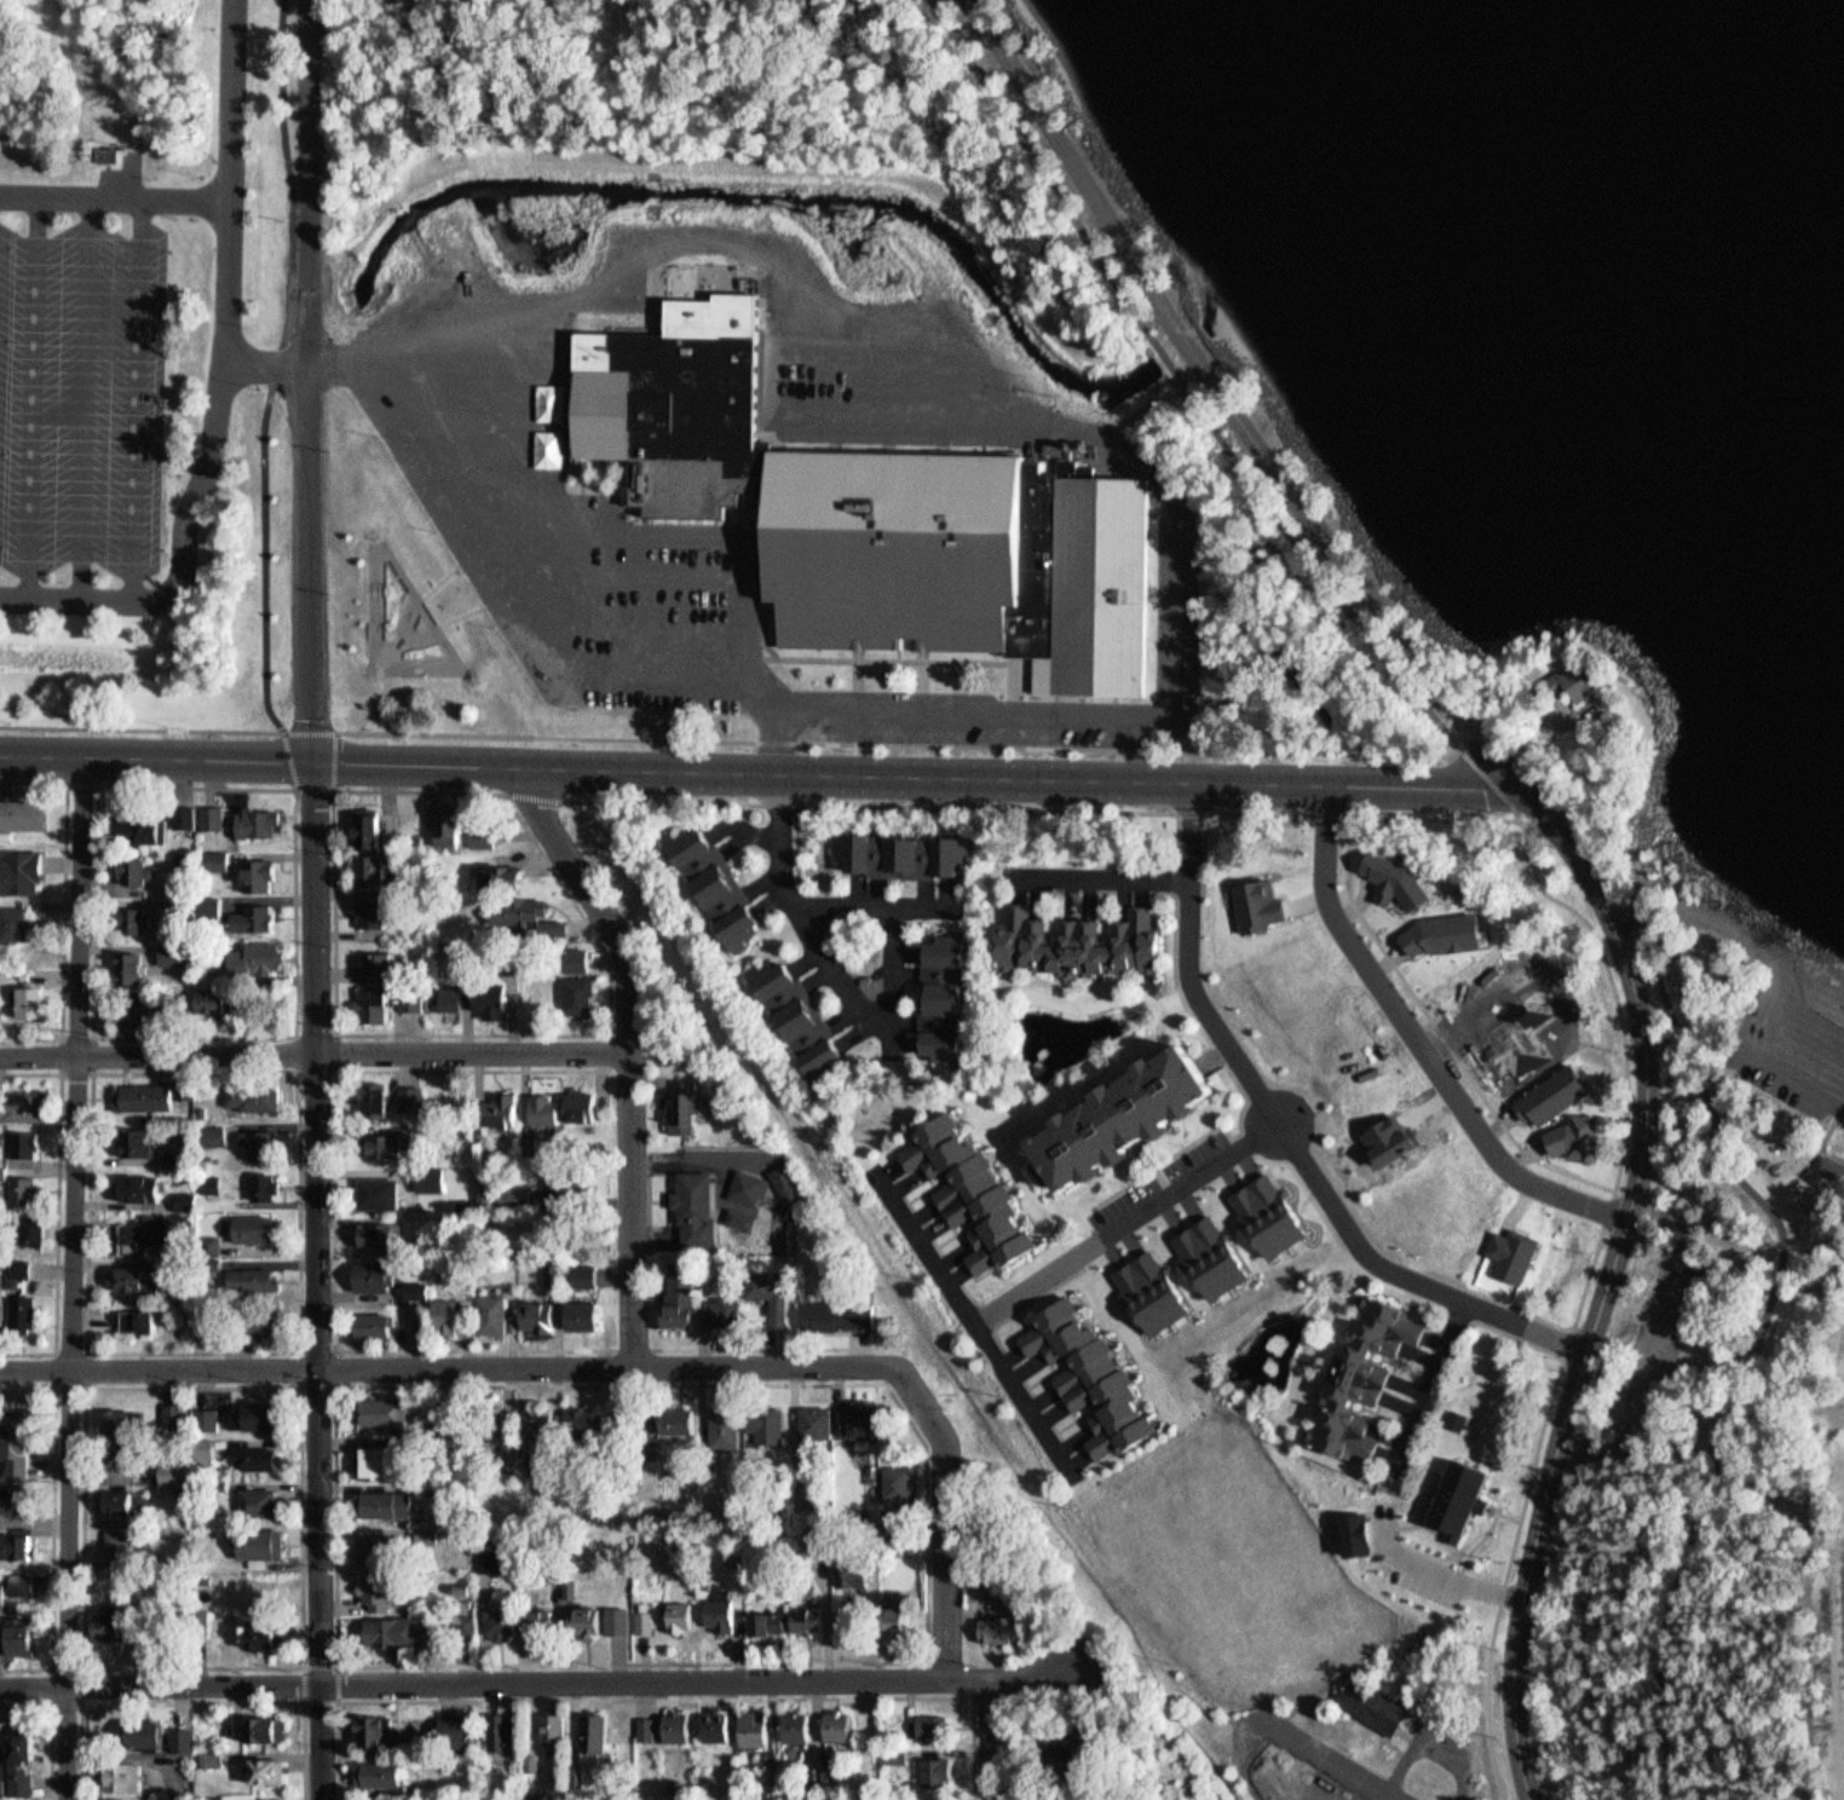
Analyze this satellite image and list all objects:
building: (100, 146)
road: (1062, 148)
road: (1019, 160)
road: (115, 197)
road: (1188, 335)
road: (1159, 354)
road: (266, 360)
road: (275, 368)
road: (306, 381)
road: (225, 388)
road: (35, 398)
parking lot: (82, 398)
road: (86, 399)
road: (138, 399)
building: (679, 399)
building: (969, 561)
road: (529, 608)
park: (407, 622)
building: (1573, 685)
road: (143, 728)
road: (903, 743)
road: (759, 774)
road: (1493, 780)
road: (336, 781)
road: (81, 785)
road: (532, 795)
building: (18, 804)
road: (892, 804)
road: (1220, 812)
road: (1329, 812)
building: (188, 817)
building: (215, 817)
road: (1192, 817)
building: (263, 823)
building: (454, 826)
building: (485, 833)
building: (206, 838)
building: (374, 846)
building: (910, 853)
building: (16, 862)
building: (137, 870)
building: (264, 876)
building: (505, 876)
road: (1101, 876)
building: (1393, 878)
building: (725, 887)
building: (1254, 899)
road: (59, 902)
building: (168, 905)
road: (881, 905)
building: (374, 912)
building: (523, 912)
building: (10, 915)
building: (259, 918)
building: (138, 921)
road: (1733, 929)
building: (1443, 933)
building: (1095, 944)
building: (180, 954)
building: (261, 957)
road: (829, 959)
building: (382, 965)
building: (134, 968)
building: (584, 987)
building: (22, 993)
building: (495, 994)
building: (947, 994)
building: (451, 996)
building: (414, 998)
building: (35, 1002)
building: (380, 1004)
road: (1670, 1004)
building: (143, 1014)
building: (806, 1019)
road: (1641, 1031)
road: (572, 1032)
road: (286, 1033)
road: (1422, 1038)
road: (610, 1050)
road: (315, 1051)
road: (630, 1052)
road: (79, 1066)
road: (334, 1069)
building: (156, 1094)
building: (1552, 1094)
building: (22, 1096)
building: (257, 1096)
building: (414, 1097)
building: (381, 1098)
building: (684, 1103)
building: (35, 1104)
building: (584, 1106)
building: (551, 1107)
building: (507, 1110)
building: (1133, 1114)
building: (18, 1133)
building: (219, 1135)
road: (1289, 1136)
building: (398, 1141)
building: (143, 1142)
road: (1624, 1142)
building: (265, 1143)
building: (179, 1154)
building: (1837, 1164)
building: (436, 1179)
building: (13, 1182)
building: (569, 1184)
building: (750, 1184)
building: (267, 1187)
building: (148, 1188)
building: (973, 1188)
building: (28, 1189)
parking lot: (1172, 1190)
building: (384, 1193)
building: (519, 1195)
road: (46, 1202)
building: (695, 1205)
road: (1608, 1206)
road: (334, 1212)
building: (24, 1219)
road: (1128, 1222)
building: (39, 1230)
building: (261, 1230)
building: (149, 1233)
building: (381, 1235)
building: (11, 1258)
building: (24, 1269)
building: (379, 1275)
building: (590, 1276)
building: (139, 1279)
road: (62, 1281)
building: (263, 1281)
road: (323, 1281)
park: (1689, 1287)
building: (776, 1294)
building: (15, 1302)
building: (685, 1303)
road: (900, 1304)
building: (28, 1311)
road: (1448, 1311)
building: (728, 1312)
building: (592, 1314)
building: (496, 1315)
building: (842, 1315)
building: (454, 1316)
building: (543, 1316)
building: (143, 1321)
road: (975, 1321)
road: (1575, 1321)
building: (273, 1322)
building: (379, 1325)
building: (421, 1326)
road: (1566, 1339)
road: (927, 1343)
road: (81, 1345)
road: (616, 1348)
road: (763, 1348)
road: (302, 1349)
road: (448, 1365)
building: (1099, 1375)
road: (76, 1378)
building: (1368, 1378)
road: (75, 1383)
road: (1434, 1387)
building: (390, 1412)
building: (260, 1415)
building: (868, 1418)
building: (588, 1420)
building: (684, 1420)
building: (820, 1420)
building: (127, 1421)
building: (620, 1421)
building: (768, 1424)
building: (728, 1426)
building: (543, 1430)
building: (22, 1444)
building: (264, 1456)
building: (132, 1460)
building: (382, 1461)
building: (177, 1473)
building: (903, 1483)
building: (17, 1498)
building: (125, 1501)
building: (261, 1501)
building: (1470, 1502)
building: (393, 1504)
building: (1497, 1504)
road: (947, 1516)
road: (40, 1517)
building: (266, 1542)
building: (1366, 1542)
building: (22, 1546)
building: (121, 1546)
building: (380, 1548)
building: (1233, 1560)
building: (496, 1567)
road: (1448, 1574)
building: (22, 1583)
building: (382, 1592)
building: (829, 1599)
building: (117, 1612)
building: (688, 1614)
building: (728, 1614)
building: (540, 1620)
building: (606, 1620)
building: (651, 1620)
building: (904, 1620)
building: (507, 1623)
building: (773, 1623)
road: (1082, 1627)
building: (999, 1629)
building: (265, 1633)
building: (411, 1633)
building: (24, 1634)
road: (362, 1663)
road: (538, 1680)
road: (69, 1695)
road: (184, 1697)
road: (658, 1697)
road: (338, 1700)
building: (1376, 1702)
building: (455, 1724)
building: (682, 1725)
building: (720, 1725)
building: (842, 1725)
building: (759, 1726)
building: (802, 1726)
road: (38, 1727)
building: (557, 1727)
building: (935, 1727)
road: (1283, 1727)
building: (270, 1730)
building: (506, 1730)
building: (380, 1731)
building: (598, 1732)
building: (650, 1733)
building: (162, 1737)
road: (992, 1738)
building: (267, 1770)
building: (940, 1772)
building: (385, 1775)
building: (125, 1777)
building: (19, 1783)
building: (11, 1799)
building: (272, 1799)

